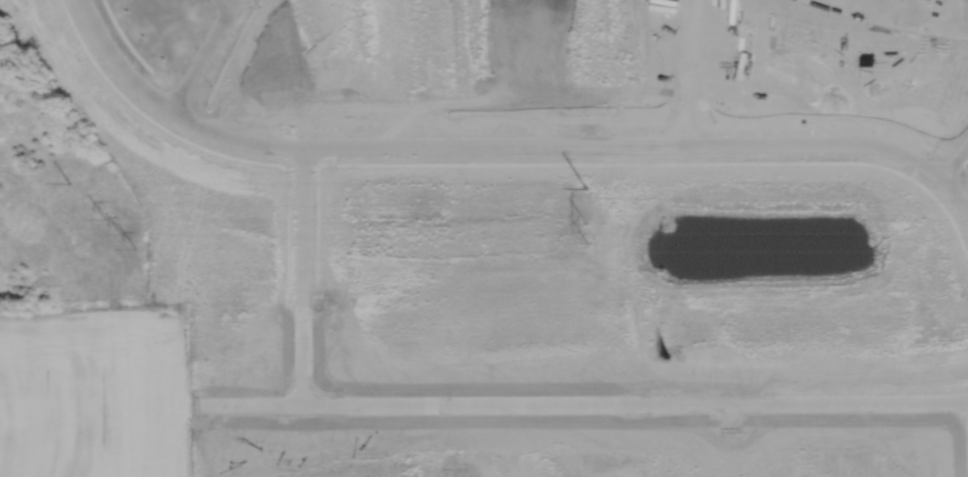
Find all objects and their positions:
road: (227, 3)
road: (911, 20)
road: (199, 56)
road: (497, 147)
road: (954, 162)
power tower: (70, 181)
power tower: (586, 188)
power tower: (585, 228)
power tower: (121, 234)
road: (302, 275)
road: (585, 404)

